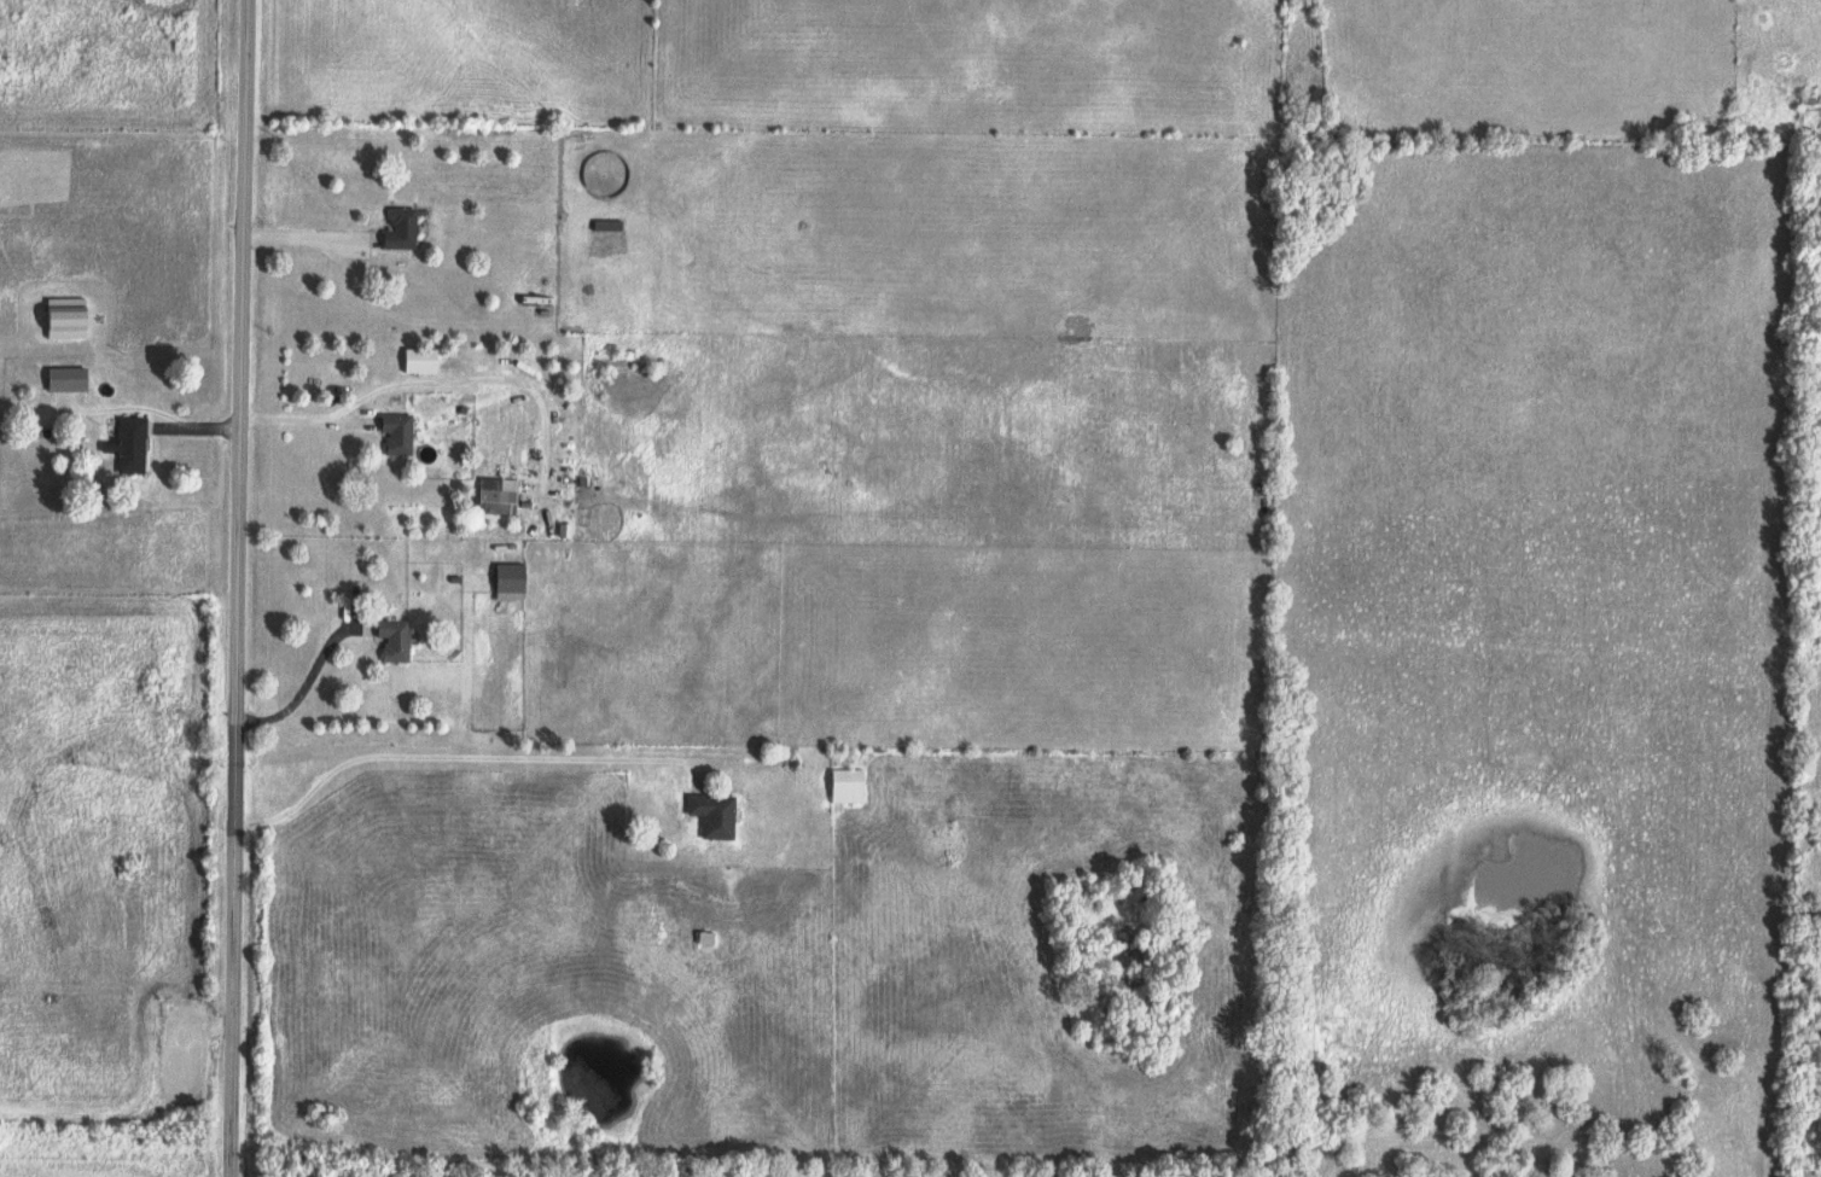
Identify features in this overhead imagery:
building: (610, 226)
building: (403, 229)
road: (299, 238)
building: (69, 379)
road: (303, 420)
building: (398, 433)
building: (130, 445)
building: (500, 502)
building: (511, 577)
road: (235, 588)
building: (396, 637)
road: (302, 684)
road: (450, 757)
building: (850, 786)
building: (715, 814)
building: (708, 937)

